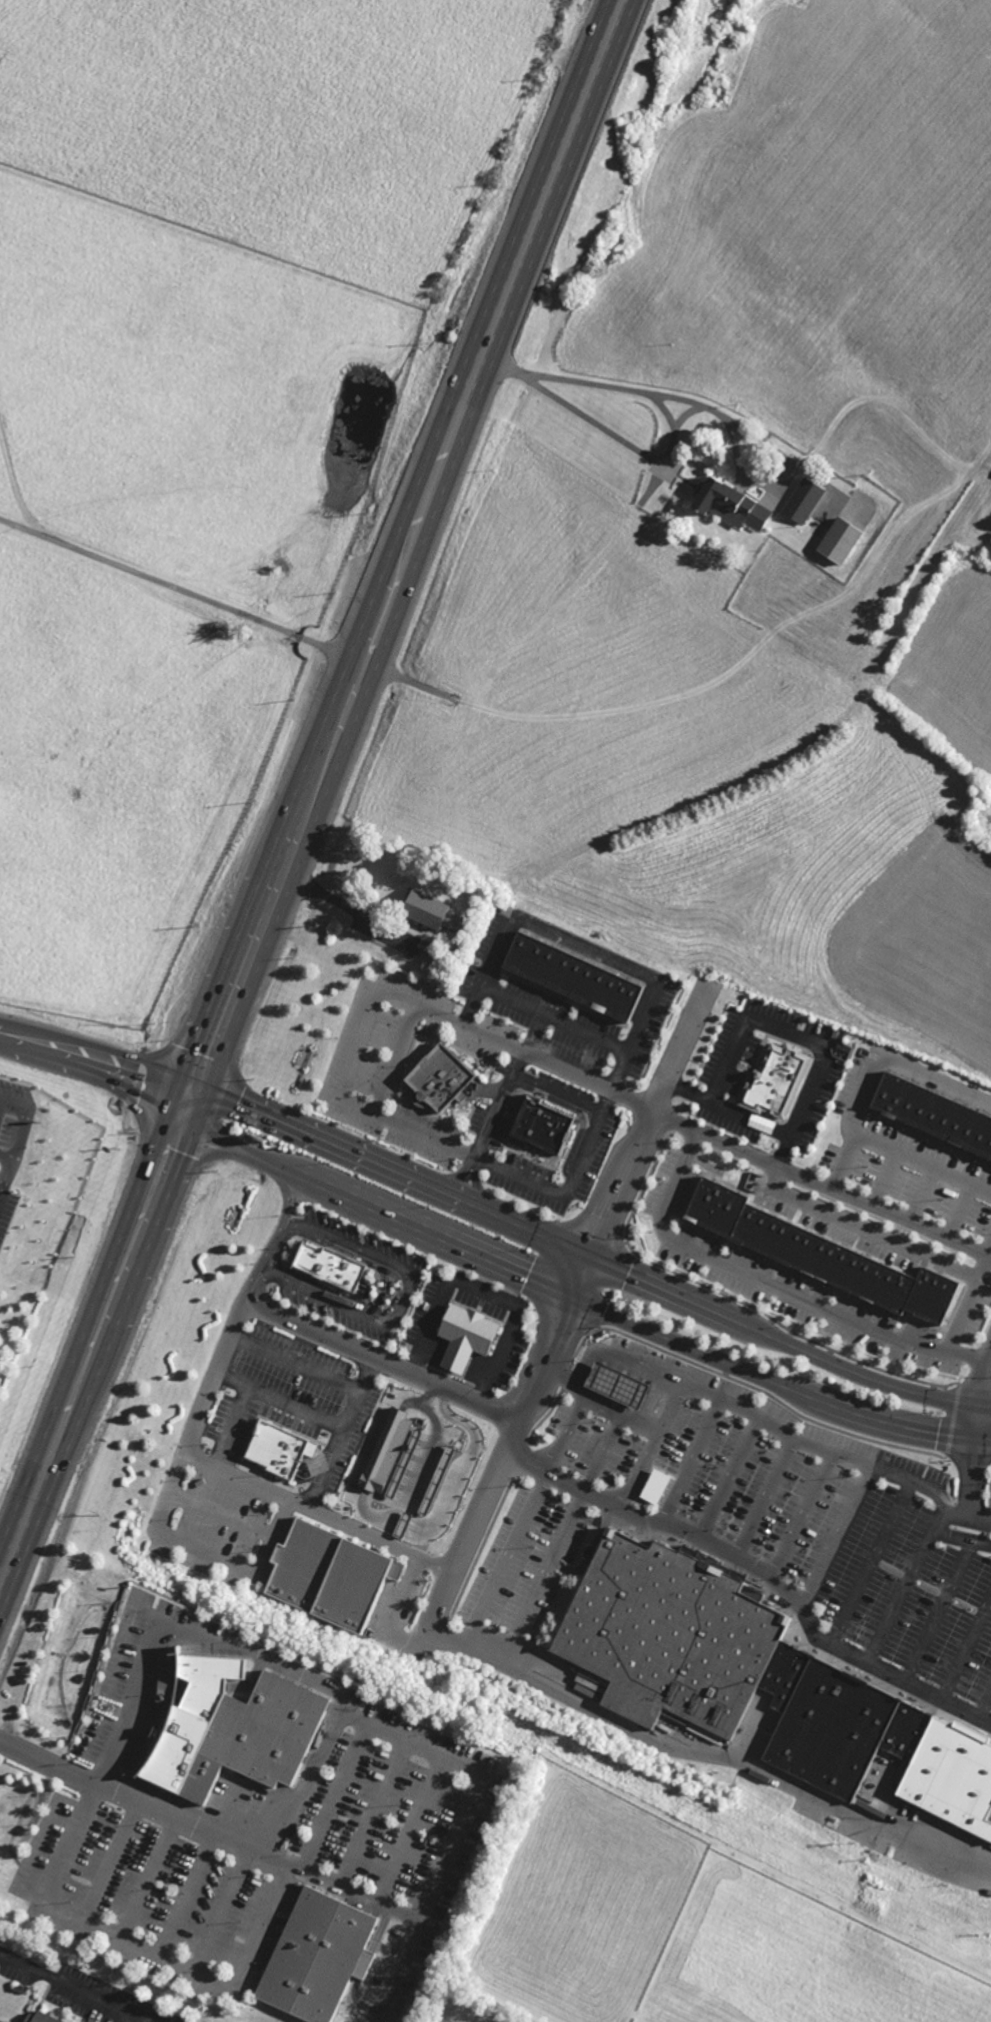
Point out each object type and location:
road: (634, 389)
road: (11, 482)
building: (802, 502)
building: (727, 505)
building: (837, 541)
road: (406, 548)
road: (182, 584)
road: (442, 693)
road: (342, 904)
building: (423, 909)
building: (569, 979)
road: (490, 991)
road: (782, 1033)
road: (597, 1040)
road: (99, 1051)
road: (394, 1059)
road: (874, 1069)
building: (435, 1078)
building: (774, 1078)
traffic signals: (198, 1079)
road: (498, 1103)
road: (0, 1104)
road: (354, 1104)
building: (932, 1113)
road: (684, 1122)
traffic signals: (180, 1124)
building: (538, 1126)
road: (641, 1137)
road: (924, 1165)
road: (4, 1170)
road: (567, 1185)
road: (858, 1230)
building: (816, 1255)
road: (588, 1258)
building: (326, 1264)
road: (482, 1291)
road: (580, 1298)
road: (793, 1298)
road: (400, 1302)
building: (461, 1336)
road: (95, 1339)
road: (223, 1348)
road: (989, 1349)
road: (965, 1356)
road: (378, 1361)
road: (308, 1367)
road: (558, 1375)
building: (615, 1384)
road: (277, 1397)
road: (735, 1407)
road: (617, 1415)
road: (229, 1423)
road: (976, 1427)
road: (425, 1440)
road: (648, 1445)
road: (332, 1448)
building: (273, 1449)
building: (386, 1450)
road: (689, 1461)
road: (493, 1472)
road: (727, 1478)
building: (653, 1486)
road: (765, 1498)
road: (316, 1510)
road: (799, 1515)
road: (838, 1536)
road: (961, 1537)
road: (588, 1554)
road: (504, 1557)
road: (870, 1563)
road: (759, 1571)
building: (324, 1575)
road: (538, 1575)
road: (904, 1586)
road: (391, 1609)
road: (938, 1610)
road: (966, 1650)
building: (737, 1672)
road: (984, 1704)
building: (226, 1729)
road: (408, 1741)
road: (706, 1753)
road: (335, 1795)
road: (374, 1812)
parking lot: (385, 1824)
road: (409, 1829)
road: (258, 1859)
road: (109, 1862)
road: (148, 1879)
road: (184, 1896)
road: (46, 1897)
road: (222, 1912)
building: (315, 1957)
road: (69, 1986)
building: (43, 2017)

